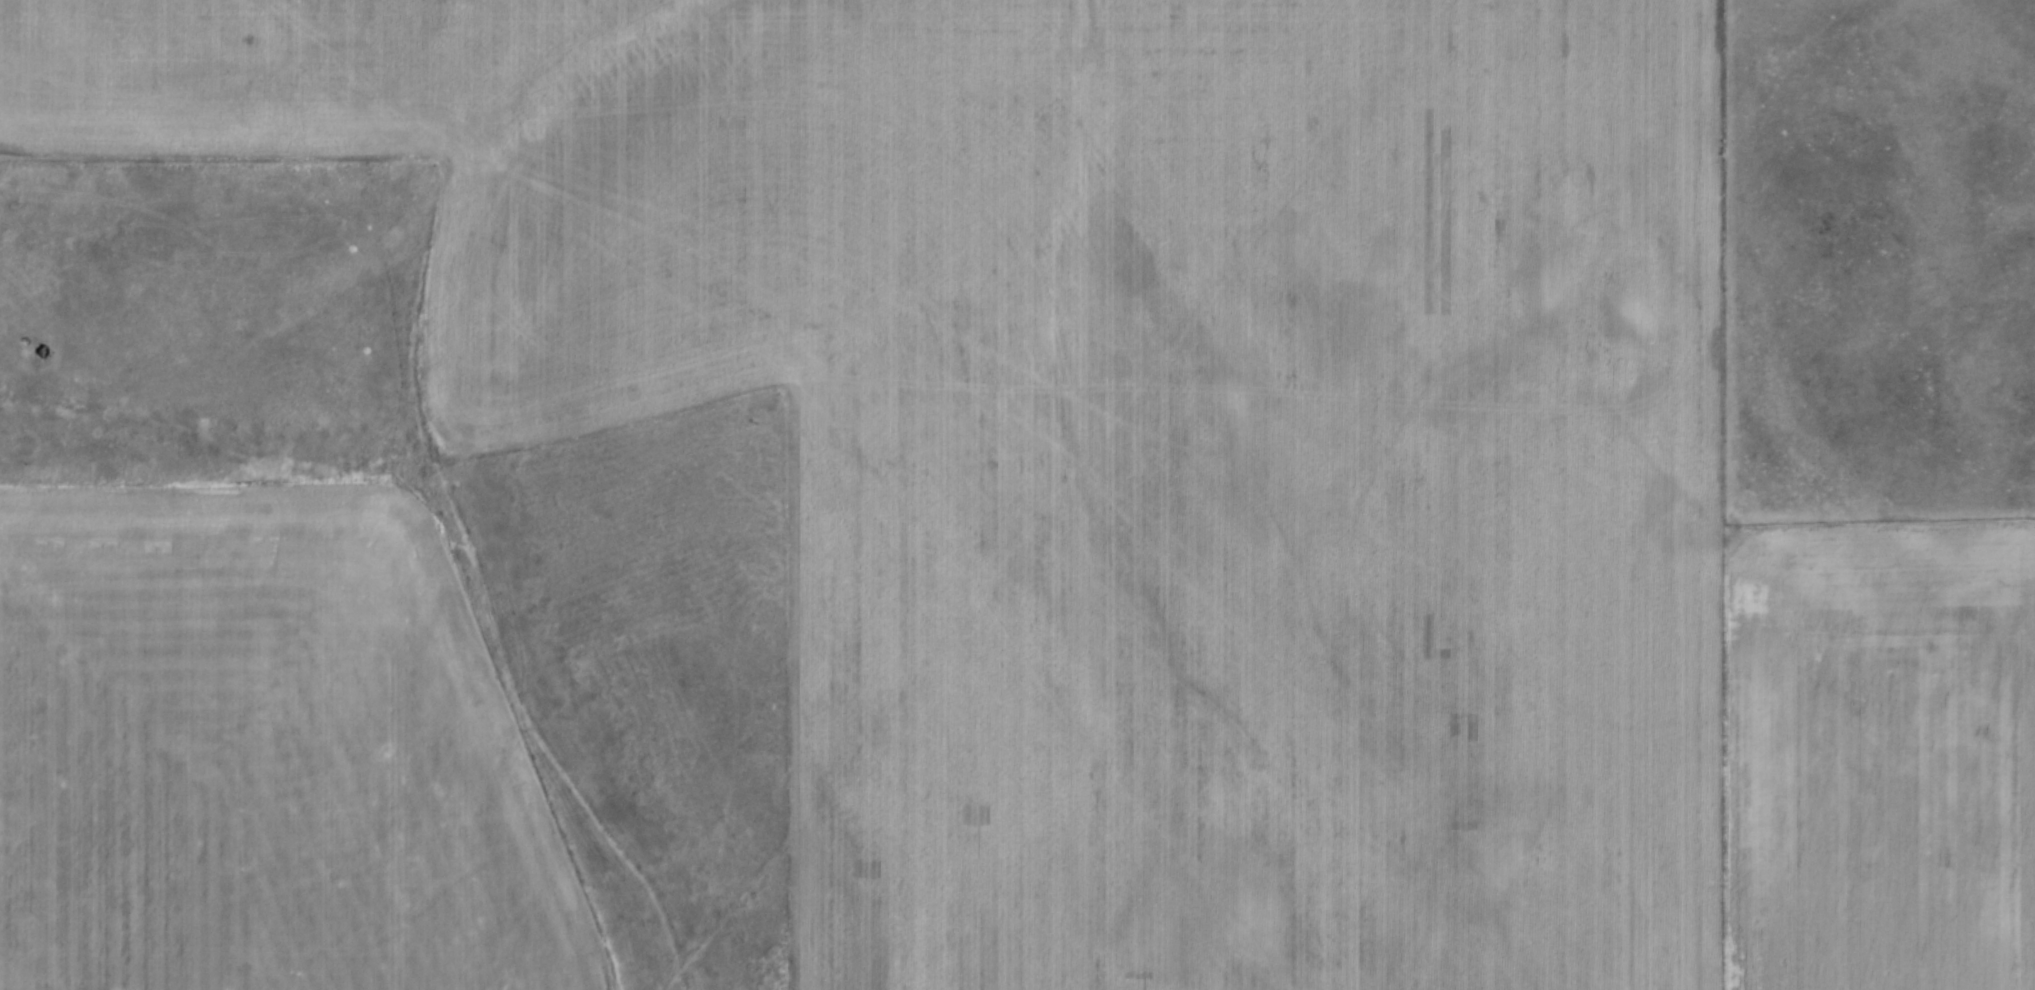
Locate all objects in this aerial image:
crop: (1186, 471)
crop: (258, 754)

